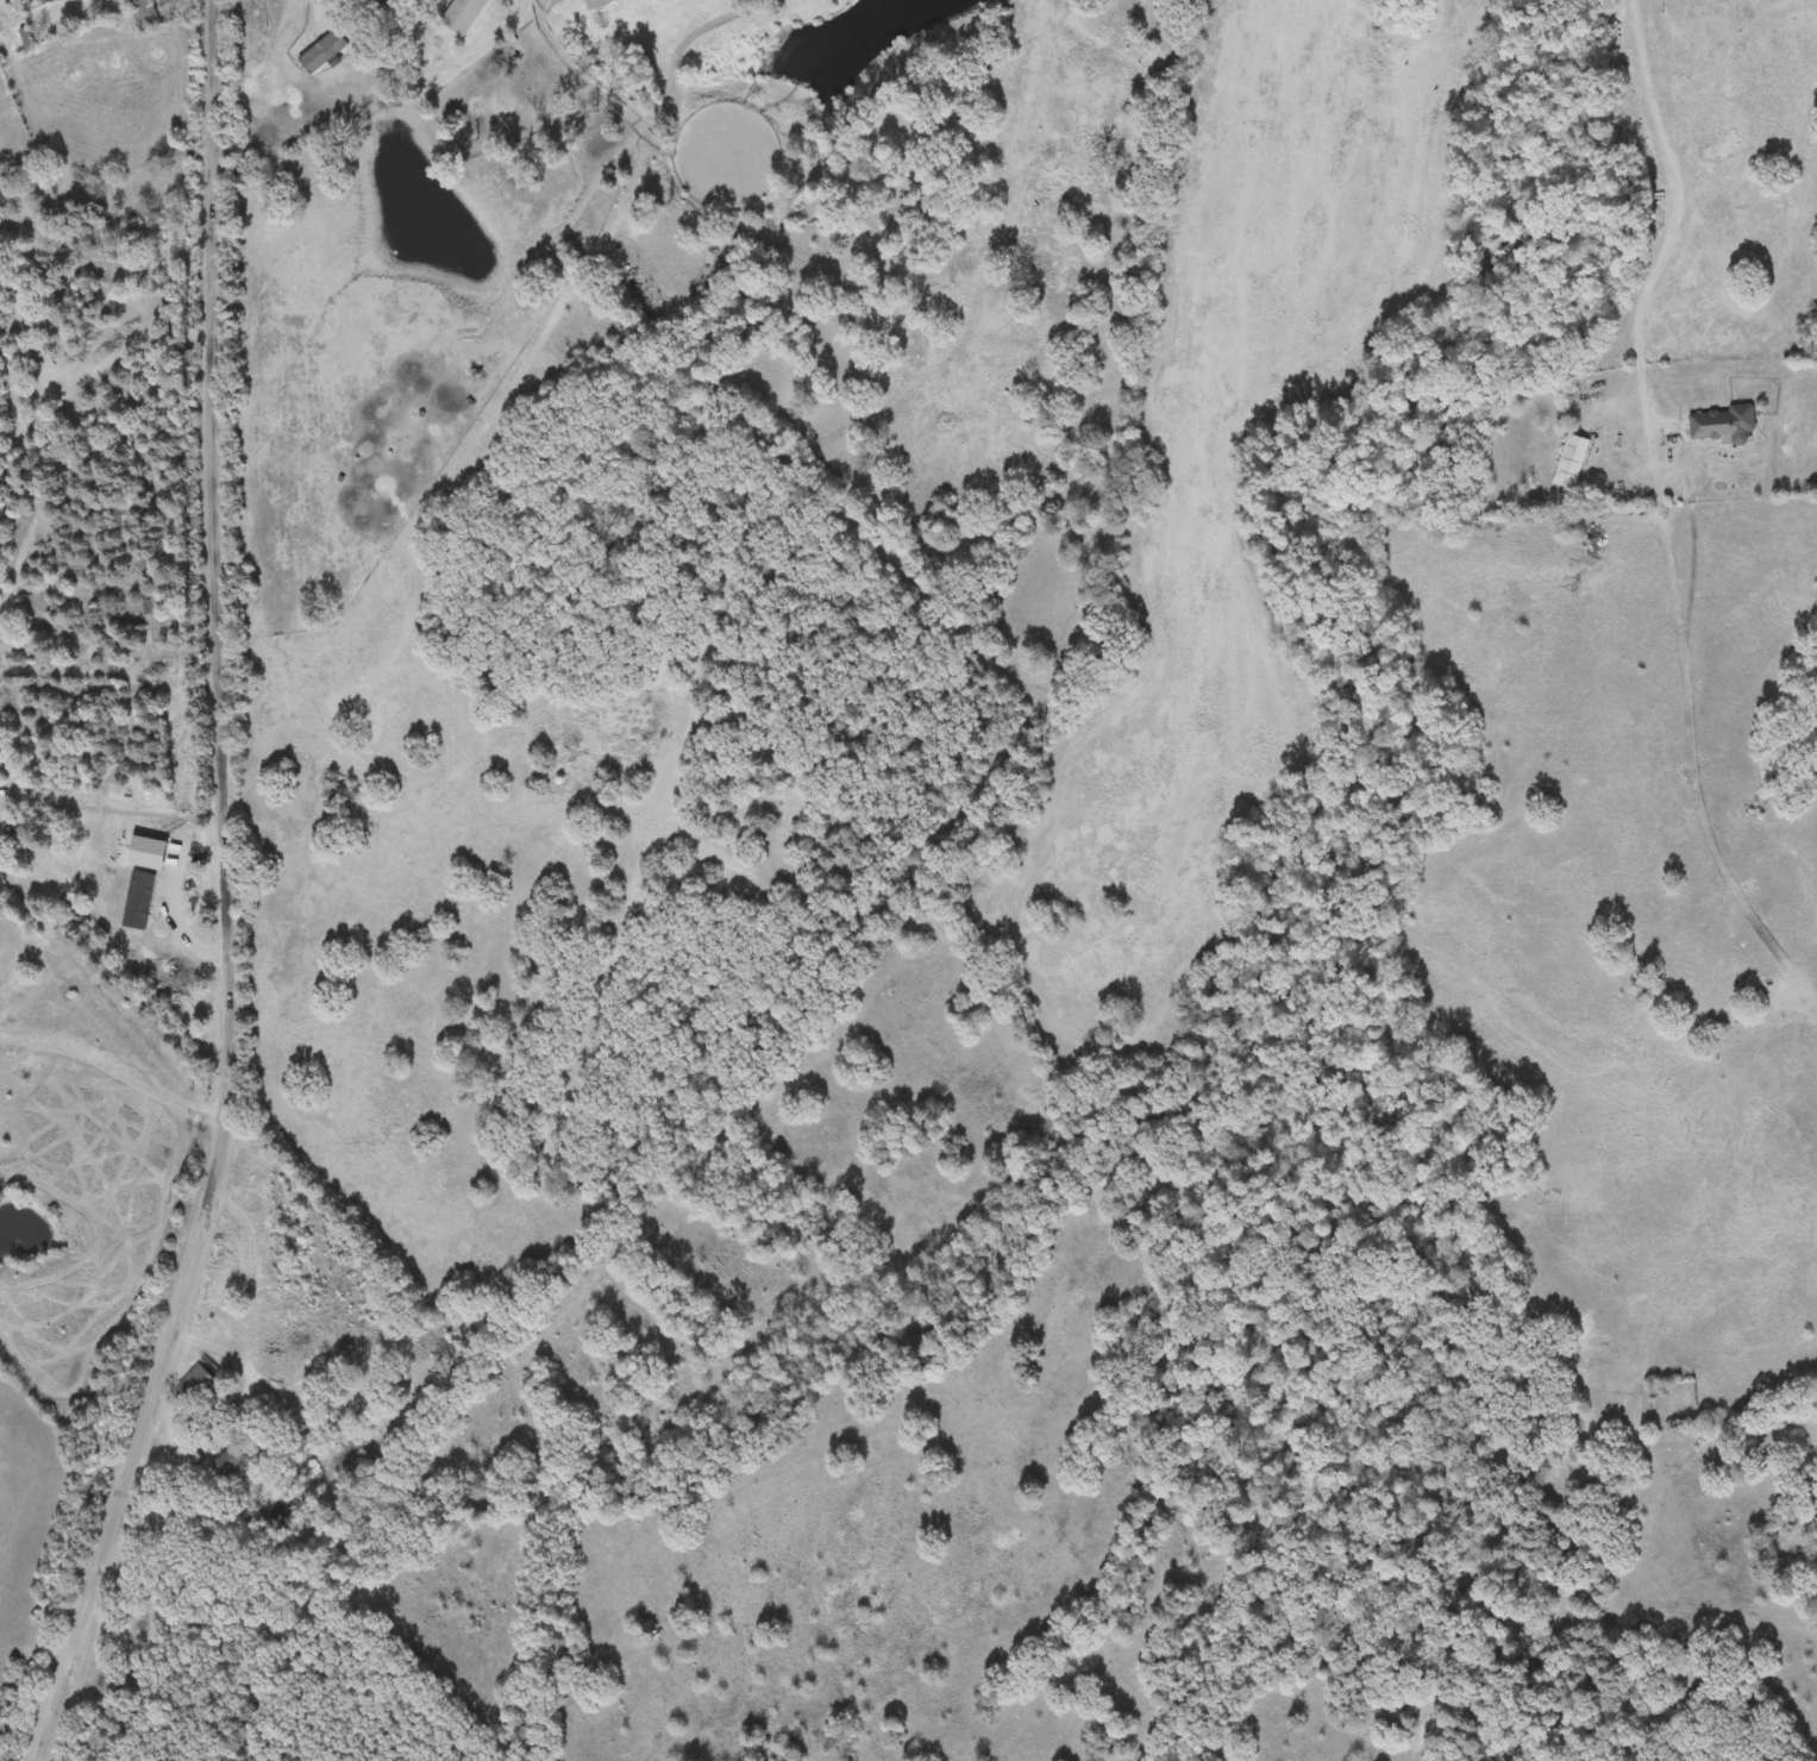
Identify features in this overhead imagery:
building: (588, 1)
building: (44, 2)
building: (145, 15)
road: (1675, 212)
road: (211, 320)
building: (1724, 425)
building: (1569, 463)
road: (112, 1090)
road: (209, 1212)
building: (199, 1386)
building: (231, 1465)

